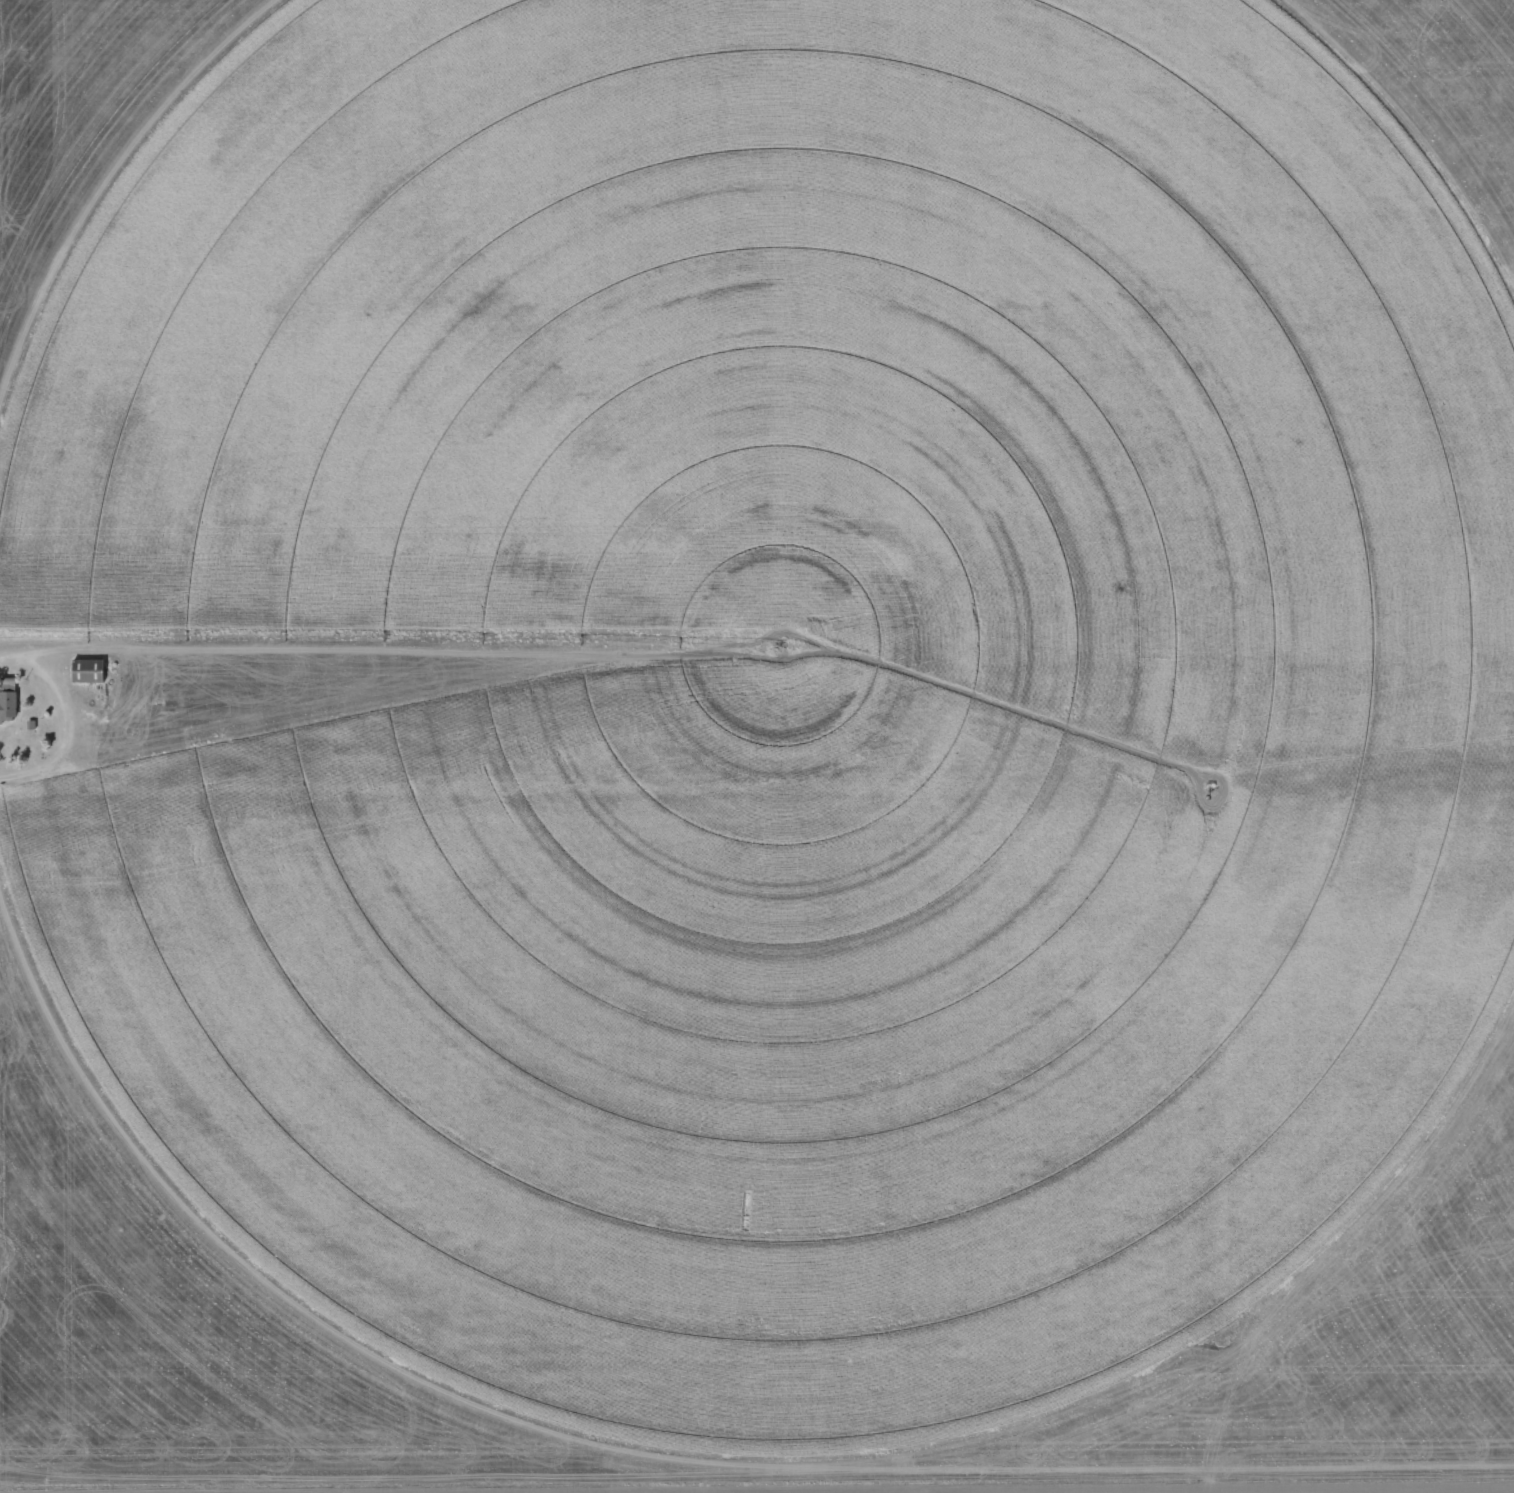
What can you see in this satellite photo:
building: (84, 670)
building: (6, 699)

